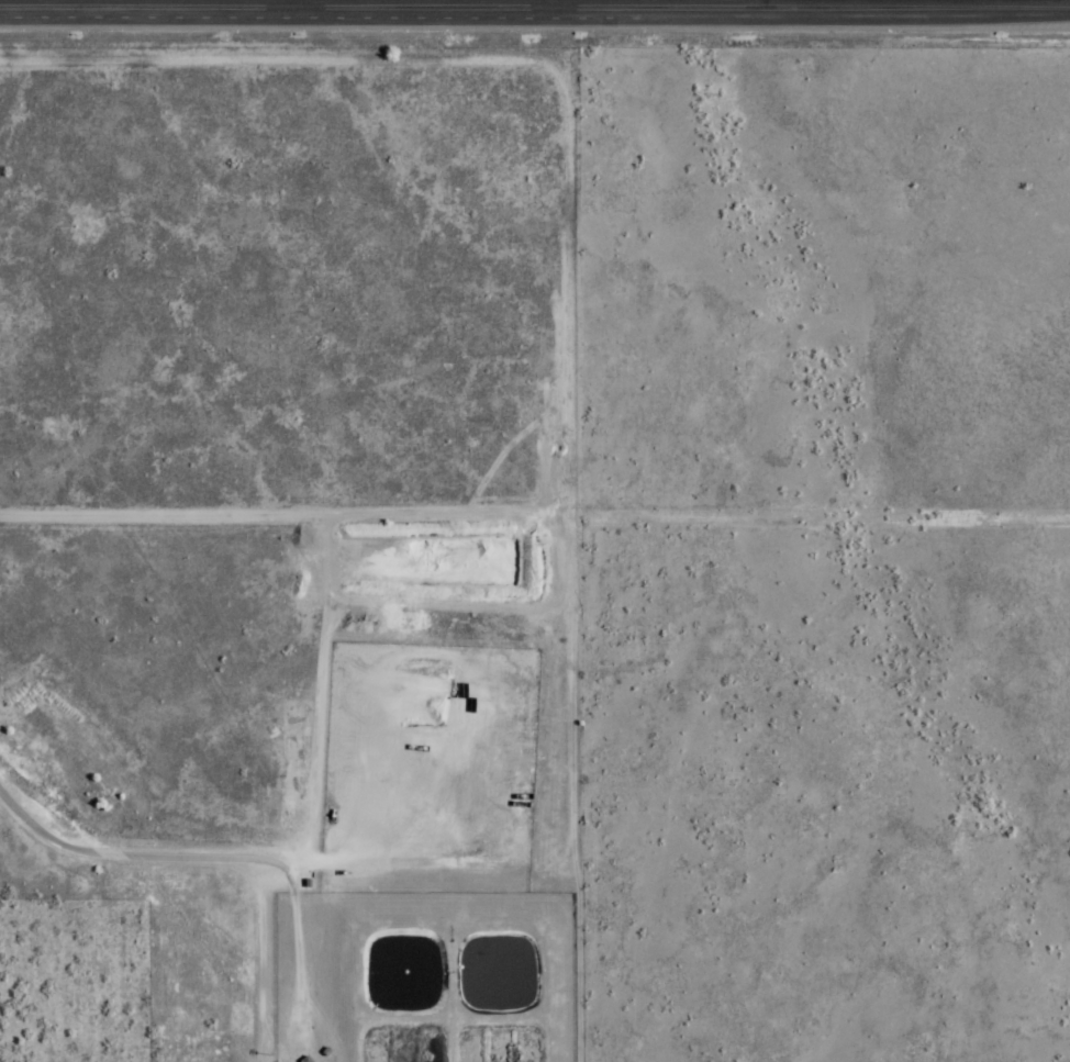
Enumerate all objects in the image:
road: (62, 4)
road: (278, 4)
road: (561, 5)
road: (849, 5)
road: (398, 10)
road: (970, 11)
road: (833, 12)
road: (168, 857)

